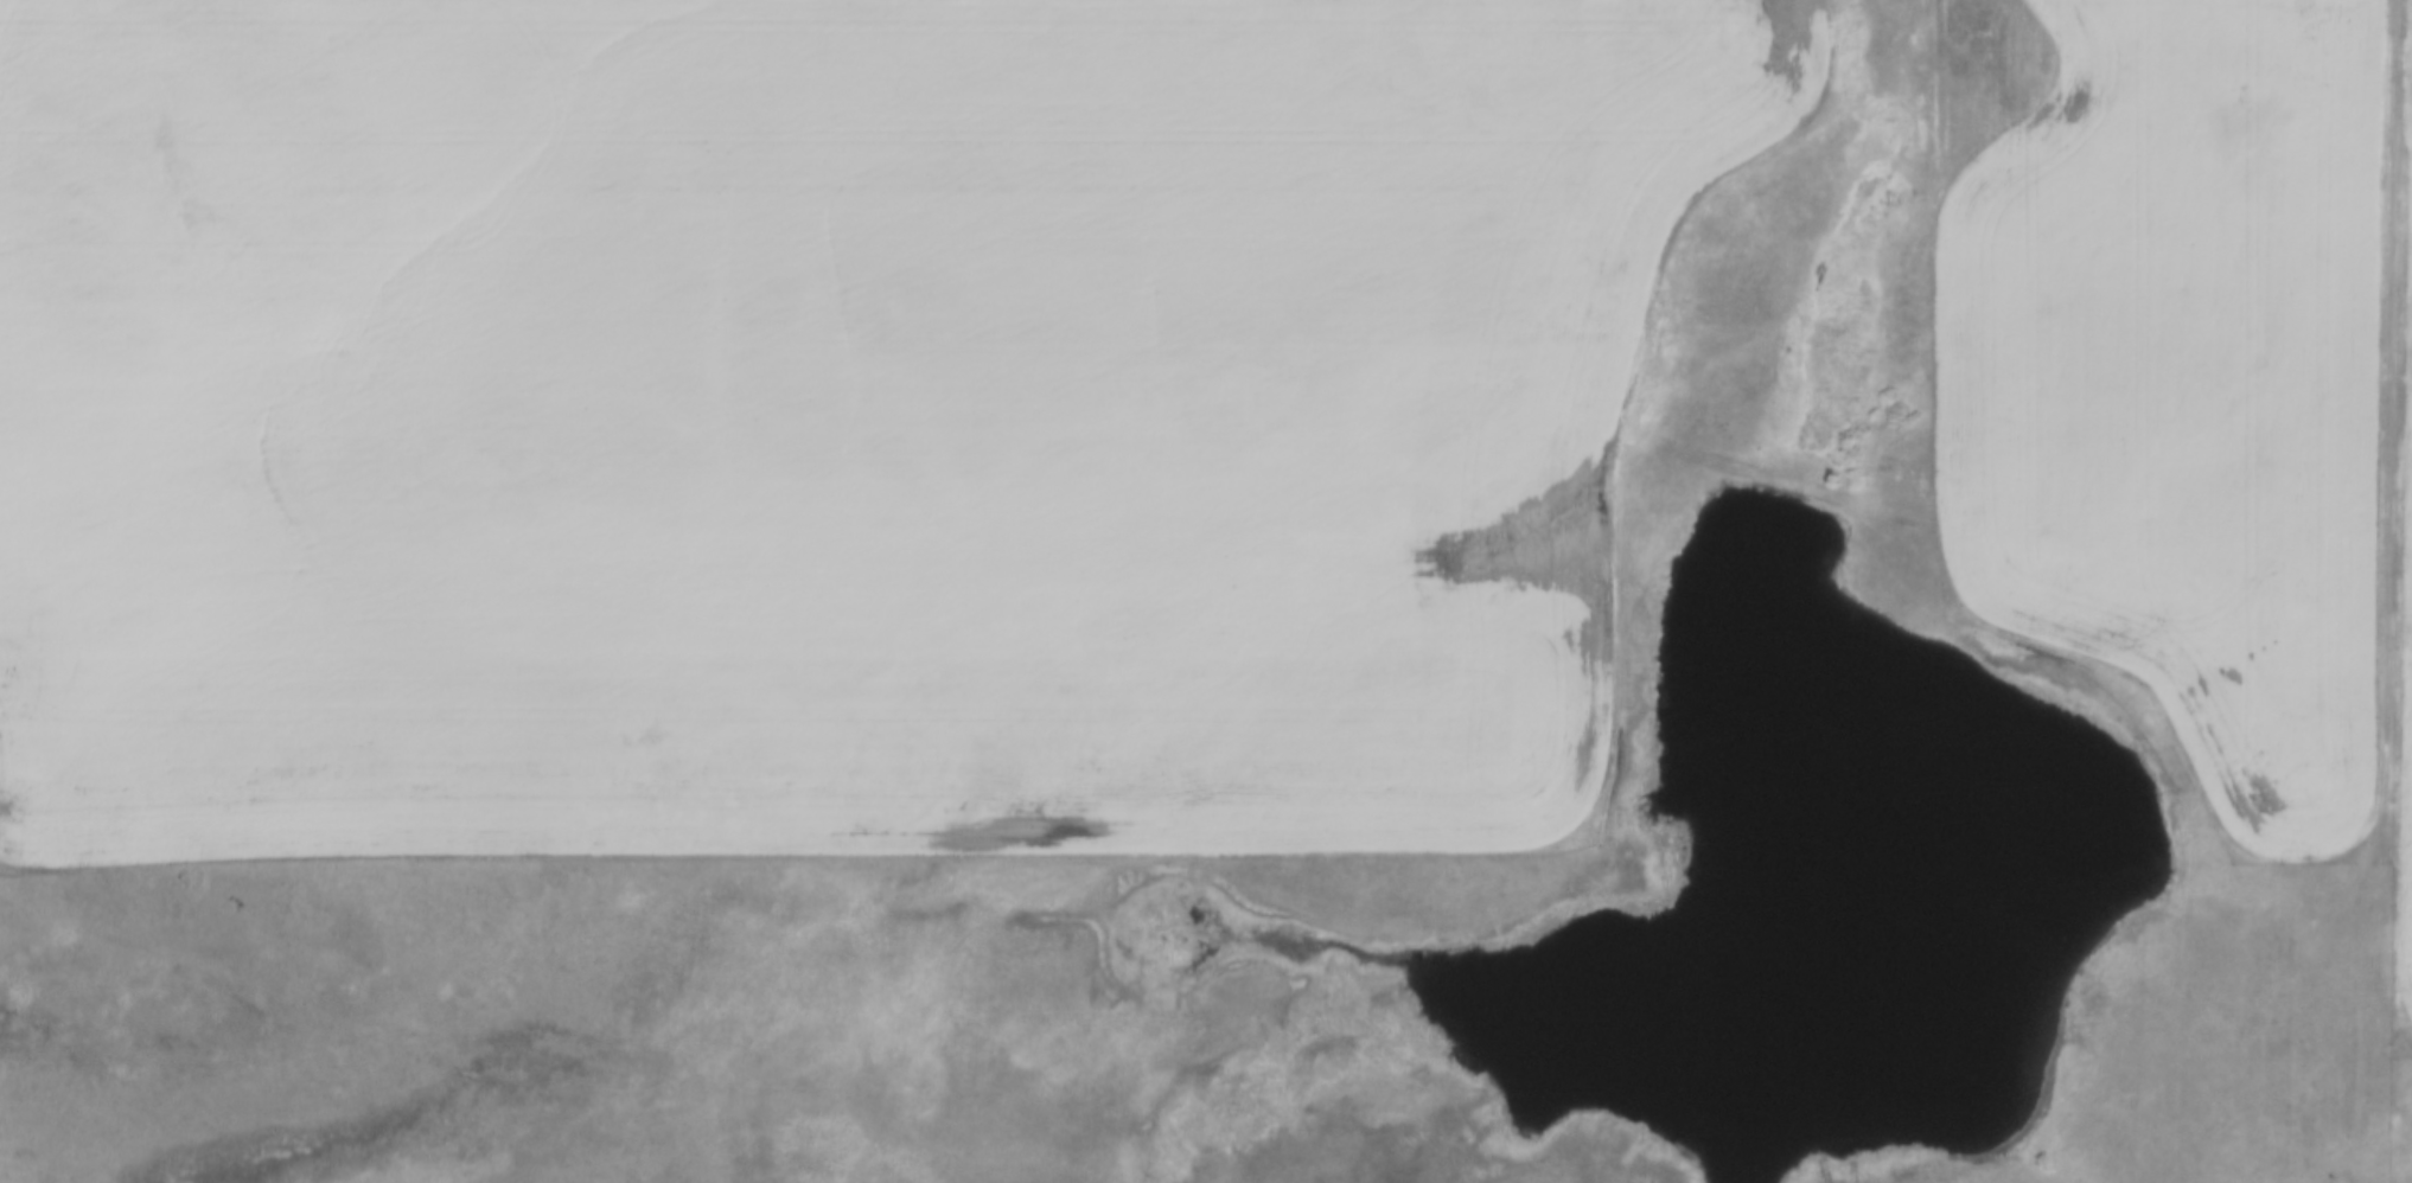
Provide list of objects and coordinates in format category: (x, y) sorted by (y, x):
road: (2378, 591)

